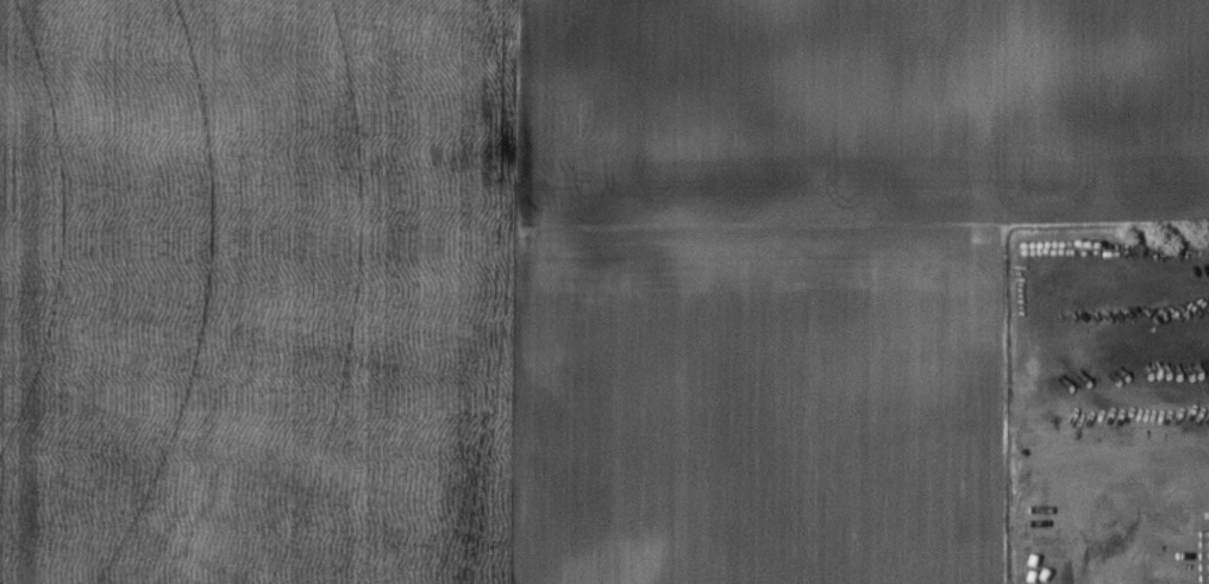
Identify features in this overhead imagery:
building: (1071, 558)

